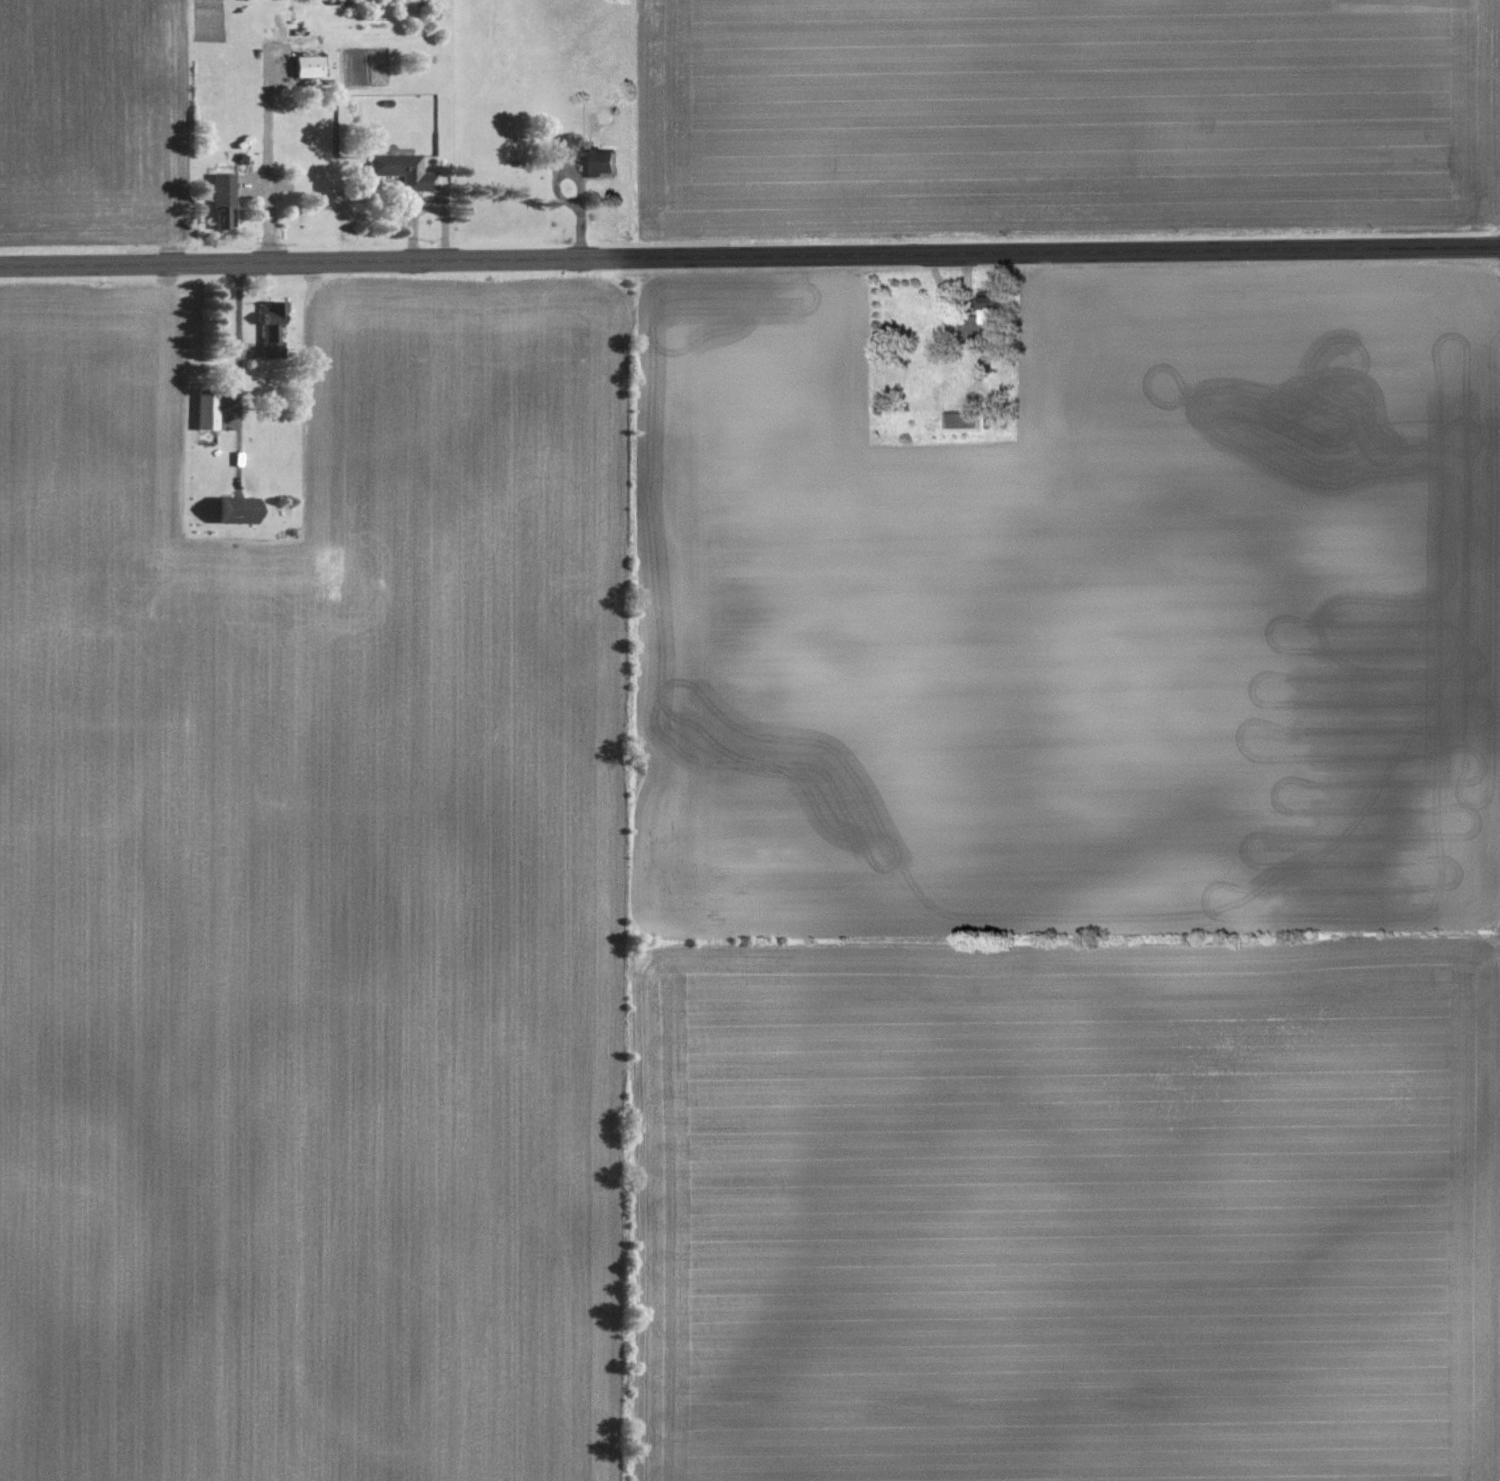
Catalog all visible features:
building: (310, 66)
building: (604, 160)
building: (405, 170)
building: (225, 200)
road: (750, 256)
building: (987, 312)
building: (272, 328)
building: (207, 409)
building: (965, 419)
building: (240, 509)

